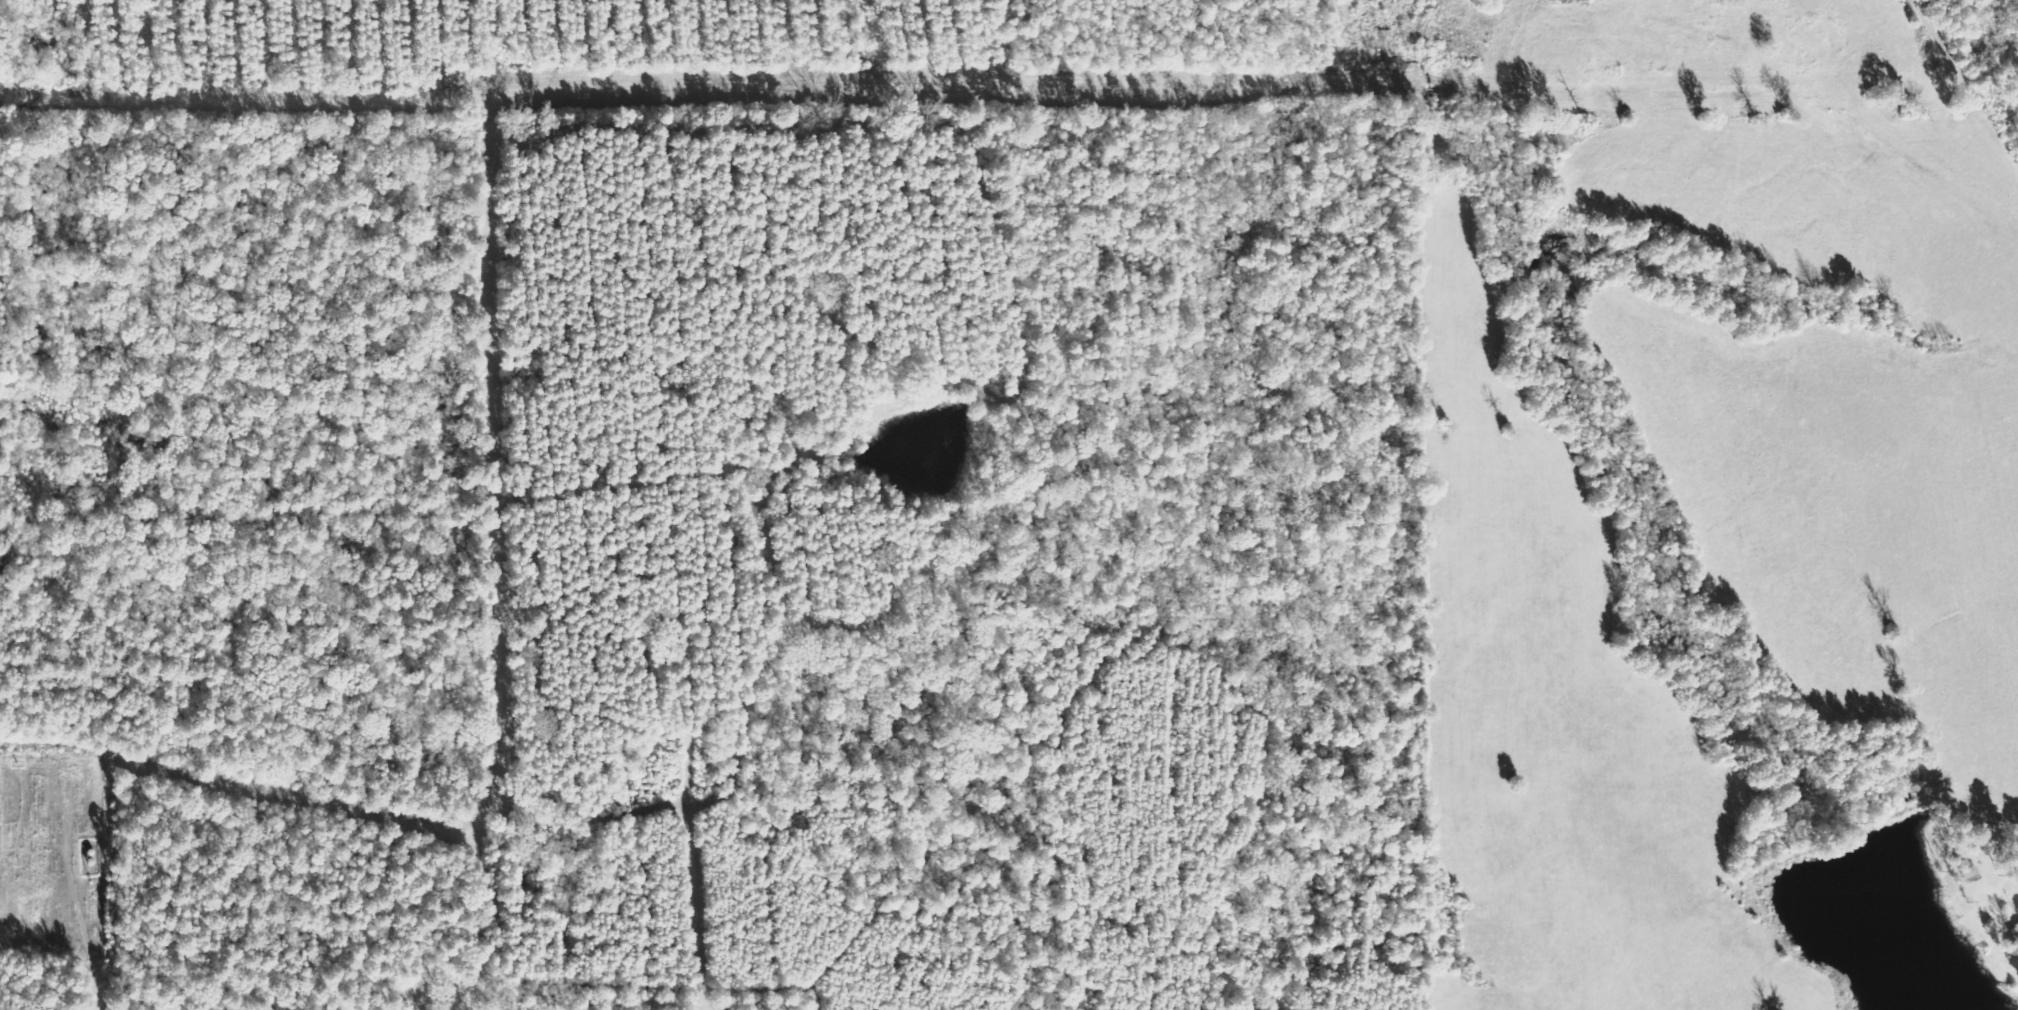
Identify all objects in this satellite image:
building: (2016, 931)

